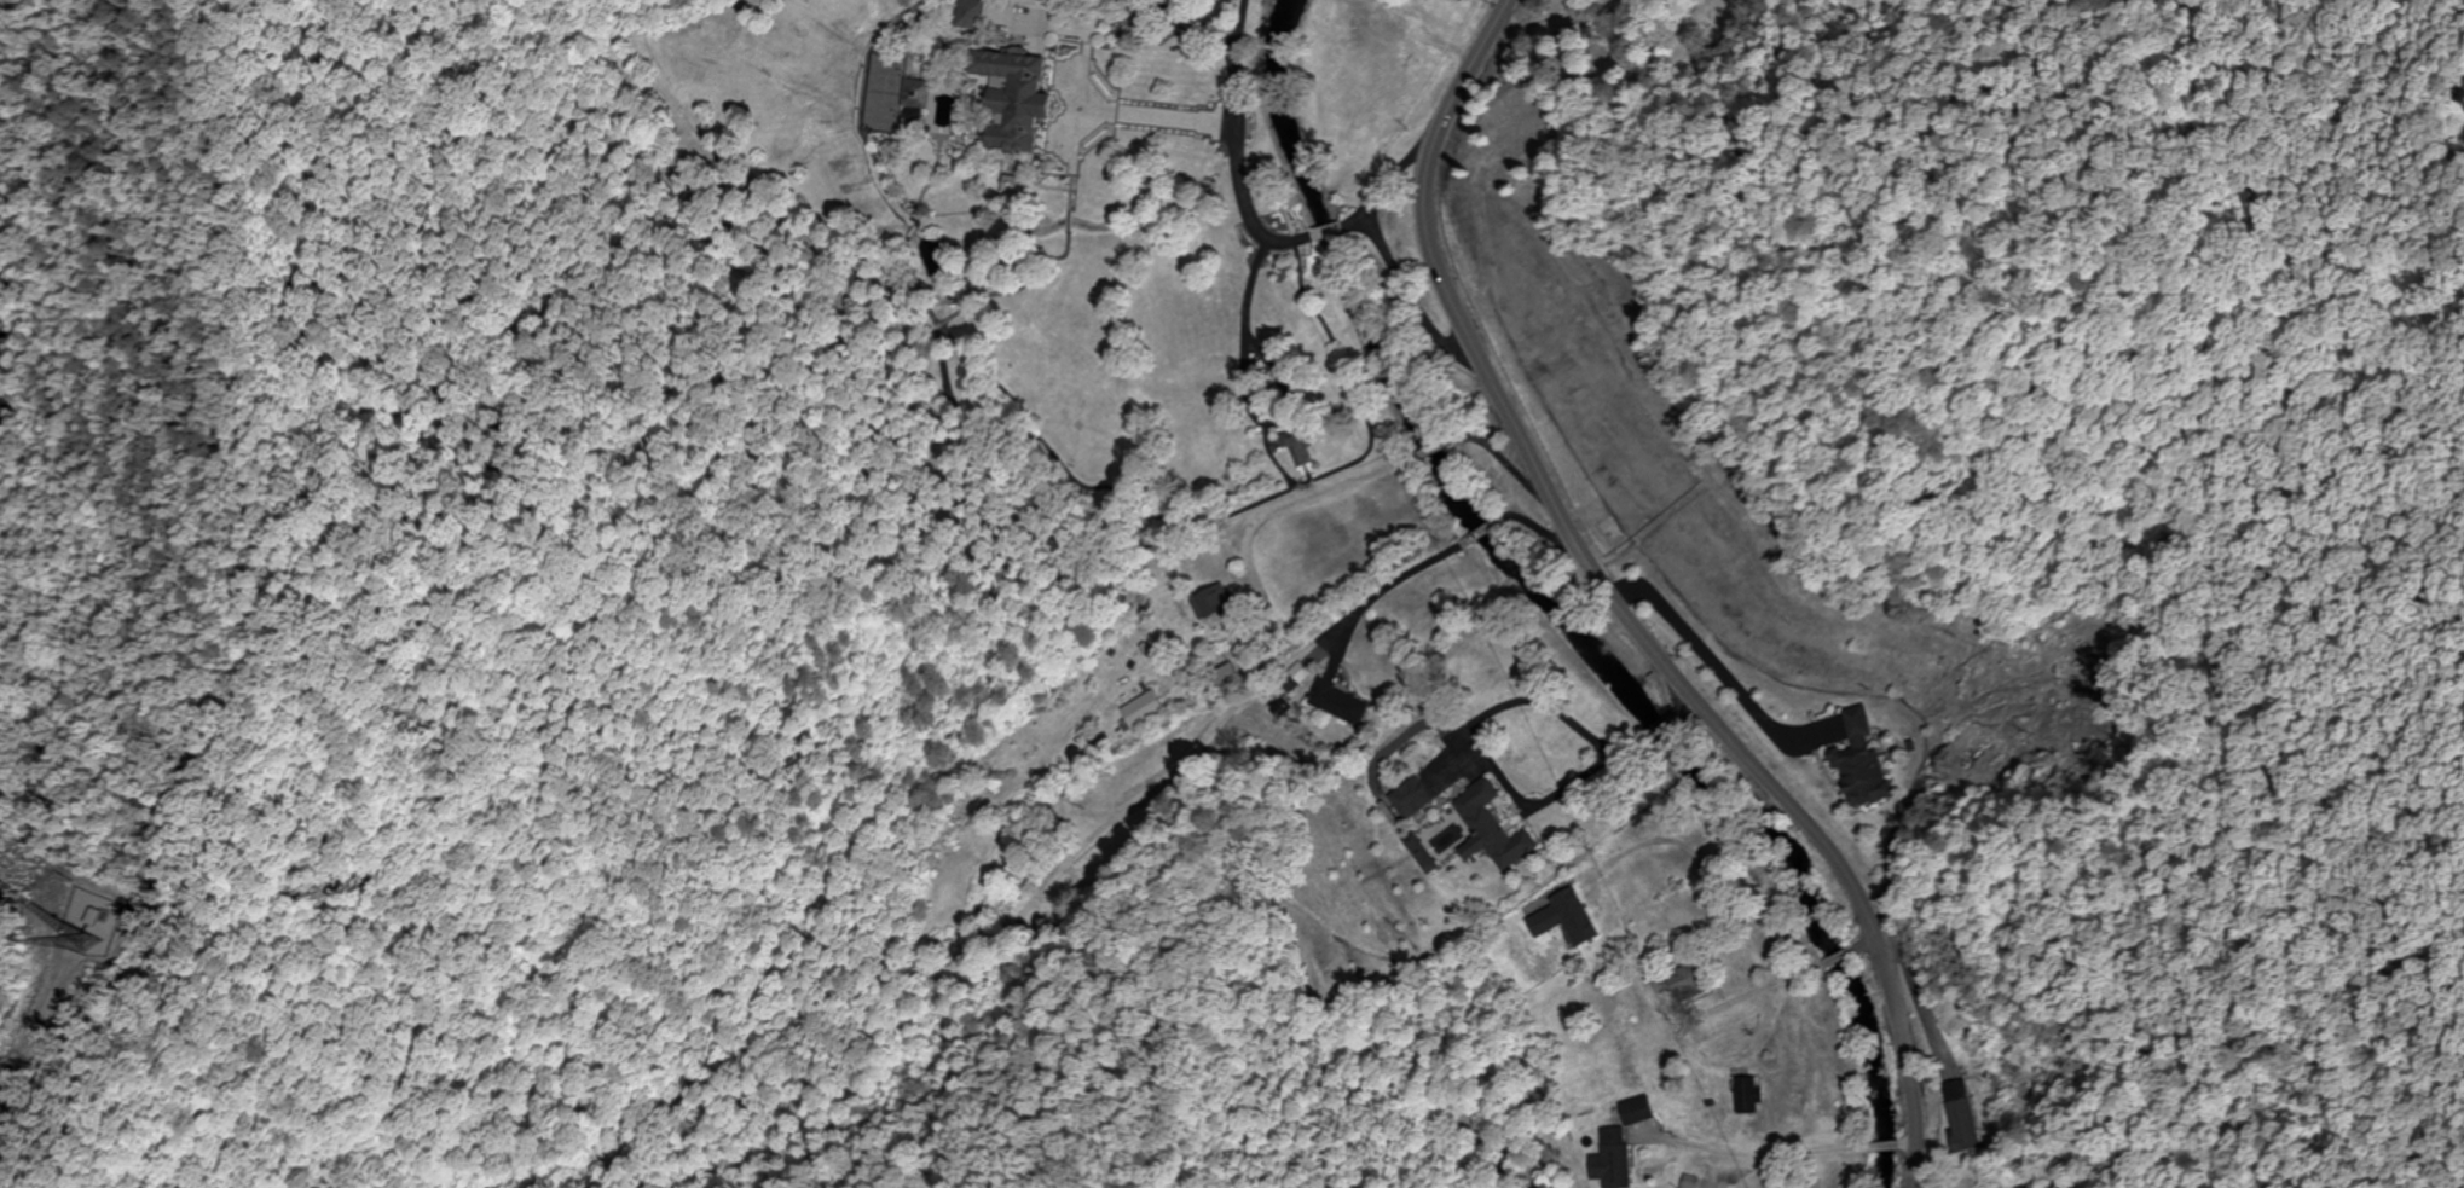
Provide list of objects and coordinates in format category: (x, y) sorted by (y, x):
building: (972, 16)
building: (918, 95)
park: (880, 97)
building: (1018, 100)
road: (1081, 100)
road: (1240, 124)
road: (1078, 135)
road: (1357, 226)
road: (1329, 234)
road: (1382, 249)
road: (1247, 361)
building: (1300, 445)
road: (1306, 502)
building: (1214, 603)
road: (1620, 607)
building: (1227, 678)
building: (1340, 703)
building: (1145, 709)
building: (1861, 761)
building: (1413, 799)
building: (1493, 828)
building: (1566, 918)
road: (1866, 944)
building: (1684, 983)
road: (1695, 1016)
building: (1624, 1039)
building: (1749, 1096)
building: (1962, 1117)
building: (1609, 1160)

